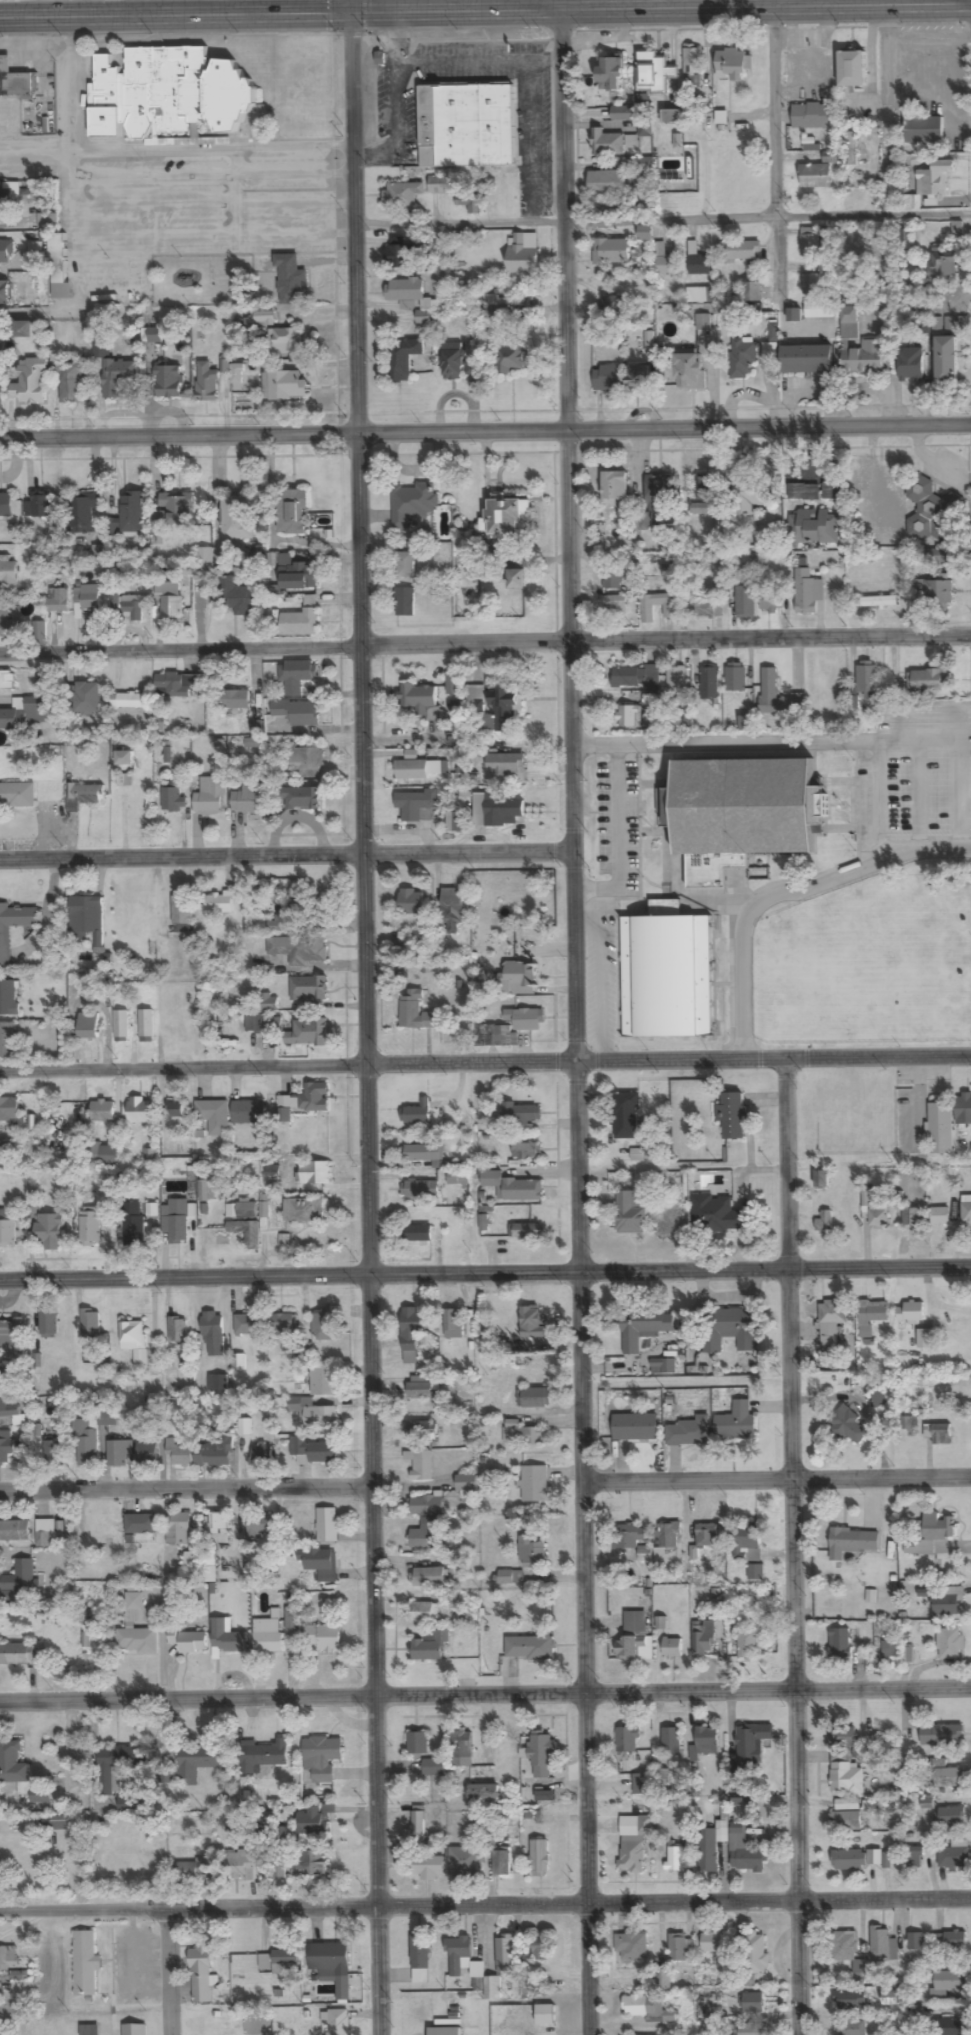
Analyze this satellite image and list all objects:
road: (139, 6)
road: (437, 6)
building: (692, 61)
building: (732, 63)
building: (852, 69)
building: (653, 72)
building: (610, 75)
building: (14, 79)
building: (299, 79)
building: (167, 94)
building: (0, 112)
building: (812, 116)
building: (672, 117)
building: (466, 125)
building: (923, 131)
building: (607, 144)
road: (775, 149)
building: (852, 149)
building: (815, 176)
building: (607, 183)
building: (439, 185)
building: (930, 187)
building: (2, 195)
building: (401, 195)
road: (663, 220)
building: (47, 221)
building: (645, 234)
building: (809, 243)
building: (739, 251)
building: (6, 252)
building: (605, 253)
building: (522, 254)
building: (399, 255)
building: (57, 259)
building: (697, 262)
building: (665, 263)
building: (941, 264)
building: (620, 280)
building: (291, 281)
building: (811, 284)
building: (404, 290)
building: (752, 293)
building: (4, 294)
building: (699, 296)
building: (611, 305)
building: (497, 307)
building: (819, 310)
building: (794, 315)
building: (703, 323)
building: (923, 327)
building: (23, 330)
building: (154, 336)
building: (284, 342)
building: (859, 347)
building: (101, 348)
building: (770, 350)
building: (743, 355)
building: (402, 359)
building: (511, 359)
building: (806, 360)
building: (946, 361)
building: (455, 362)
building: (910, 365)
building: (689, 371)
building: (236, 376)
building: (636, 376)
building: (118, 378)
building: (607, 379)
building: (31, 383)
building: (168, 383)
building: (70, 384)
building: (206, 384)
building: (284, 387)
building: (1, 397)
road: (485, 432)
building: (615, 491)
building: (659, 491)
building: (803, 492)
building: (830, 492)
building: (702, 493)
building: (750, 497)
building: (412, 504)
building: (5, 505)
building: (41, 505)
building: (928, 509)
building: (175, 510)
building: (82, 513)
building: (131, 513)
building: (292, 513)
building: (506, 517)
building: (237, 519)
building: (813, 527)
building: (205, 559)
building: (405, 565)
building: (8, 574)
building: (295, 575)
building: (516, 581)
building: (612, 581)
building: (807, 592)
building: (938, 593)
building: (90, 598)
building: (238, 599)
building: (57, 601)
building: (170, 601)
building: (769, 601)
building: (879, 602)
building: (404, 603)
building: (745, 603)
building: (615, 604)
building: (709, 608)
building: (134, 609)
building: (647, 612)
building: (301, 621)
building: (8, 629)
road: (485, 648)
building: (295, 676)
building: (635, 677)
building: (735, 677)
building: (676, 679)
building: (866, 679)
building: (929, 679)
building: (7, 681)
building: (709, 682)
building: (453, 684)
building: (175, 686)
building: (772, 694)
building: (418, 697)
building: (87, 700)
building: (232, 700)
building: (650, 700)
building: (131, 701)
building: (492, 707)
building: (297, 712)
building: (26, 714)
building: (629, 716)
building: (124, 758)
building: (306, 761)
building: (506, 766)
building: (418, 769)
building: (17, 794)
building: (83, 796)
building: (211, 796)
building: (173, 798)
building: (302, 798)
building: (246, 799)
building: (414, 806)
building: (501, 809)
building: (739, 813)
building: (455, 822)
road: (485, 851)
building: (315, 902)
building: (410, 902)
building: (218, 903)
building: (452, 909)
building: (181, 913)
building: (128, 914)
building: (86, 915)
building: (278, 925)
building: (5, 949)
building: (298, 950)
building: (666, 976)
building: (517, 979)
building: (308, 989)
building: (8, 998)
building: (415, 1012)
road: (367, 1017)
road: (578, 1020)
building: (263, 1024)
building: (121, 1025)
building: (88, 1026)
building: (146, 1026)
building: (507, 1028)
building: (307, 1033)
building: (8, 1040)
road: (485, 1063)
building: (314, 1098)
building: (284, 1109)
building: (963, 1109)
building: (175, 1110)
building: (482, 1110)
building: (139, 1111)
building: (102, 1112)
building: (248, 1112)
building: (11, 1114)
building: (416, 1114)
building: (519, 1114)
building: (732, 1115)
building: (214, 1116)
building: (625, 1116)
building: (940, 1128)
building: (526, 1151)
building: (420, 1153)
building: (6, 1154)
building: (150, 1158)
building: (314, 1173)
building: (457, 1179)
building: (821, 1179)
building: (513, 1187)
building: (420, 1189)
building: (206, 1191)
building: (303, 1210)
building: (875, 1210)
building: (629, 1212)
building: (966, 1212)
building: (715, 1213)
building: (940, 1216)
building: (911, 1217)
building: (175, 1221)
building: (824, 1222)
building: (93, 1225)
building: (49, 1231)
building: (133, 1231)
building: (246, 1232)
building: (525, 1232)
building: (418, 1233)
building: (7, 1234)
road: (485, 1269)
building: (910, 1313)
building: (871, 1316)
building: (831, 1317)
building: (48, 1322)
building: (89, 1322)
building: (532, 1322)
building: (281, 1323)
building: (248, 1325)
building: (453, 1325)
building: (323, 1327)
building: (644, 1328)
building: (729, 1329)
building: (177, 1331)
building: (412, 1333)
building: (213, 1334)
building: (11, 1335)
building: (923, 1339)
building: (134, 1341)
building: (502, 1342)
building: (239, 1363)
building: (663, 1366)
building: (323, 1381)
road: (686, 1381)
building: (217, 1383)
building: (421, 1387)
building: (534, 1398)
building: (879, 1399)
building: (11, 1412)
building: (314, 1413)
building: (107, 1418)
building: (736, 1422)
building: (847, 1426)
building: (634, 1427)
building: (421, 1430)
building: (689, 1432)
building: (521, 1434)
building: (941, 1434)
building: (86, 1444)
building: (5, 1448)
building: (314, 1450)
building: (53, 1452)
building: (178, 1452)
building: (118, 1453)
building: (212, 1453)
building: (146, 1454)
building: (262, 1455)
building: (422, 1466)
road: (777, 1478)
building: (466, 1483)
building: (534, 1484)
road: (187, 1487)
building: (425, 1506)
building: (137, 1524)
building: (327, 1525)
building: (99, 1526)
building: (260, 1526)
building: (219, 1530)
building: (14, 1531)
building: (932, 1534)
building: (668, 1535)
building: (628, 1536)
building: (707, 1536)
building: (747, 1538)
building: (183, 1539)
building: (423, 1539)
building: (46, 1540)
building: (852, 1542)
road: (791, 1547)
building: (531, 1550)
building: (320, 1563)
building: (210, 1570)
building: (756, 1572)
building: (429, 1577)
building: (510, 1578)
building: (19, 1582)
building: (946, 1601)
building: (421, 1612)
building: (292, 1626)
building: (136, 1630)
building: (267, 1636)
building: (632, 1637)
building: (704, 1637)
building: (226, 1638)
building: (322, 1638)
building: (750, 1642)
building: (192, 1643)
building: (842, 1643)
building: (949, 1646)
building: (530, 1647)
building: (430, 1648)
building: (672, 1648)
building: (890, 1649)
building: (16, 1655)
road: (485, 1699)
building: (942, 1735)
building: (842, 1738)
building: (671, 1741)
building: (705, 1742)
building: (751, 1742)
building: (463, 1743)
building: (626, 1743)
building: (417, 1744)
building: (261, 1757)
building: (539, 1757)
building: (321, 1758)
building: (196, 1762)
building: (14, 1767)
building: (116, 1767)
building: (433, 1768)
building: (948, 1777)
building: (845, 1778)
building: (641, 1784)
building: (483, 1794)
building: (128, 1805)
building: (846, 1815)
building: (950, 1817)
building: (313, 1822)
building: (56, 1823)
building: (645, 1825)
building: (416, 1830)
building: (711, 1846)
building: (745, 1852)
building: (954, 1855)
building: (675, 1856)
building: (630, 1857)
building: (914, 1857)
building: (539, 1858)
building: (848, 1859)
building: (465, 1861)
building: (501, 1862)
building: (309, 1865)
building: (240, 1866)
building: (428, 1867)
building: (194, 1872)
road: (485, 1905)
building: (955, 1941)
building: (916, 1942)
building: (712, 1943)
building: (632, 1946)
building: (844, 1946)
building: (882, 1946)
building: (677, 1948)
building: (540, 1950)
building: (752, 1957)
building: (7, 1958)
building: (462, 1958)
building: (419, 1959)
building: (285, 1962)
building: (85, 1964)
building: (332, 1965)
building: (502, 1965)
road: (175, 1972)
building: (200, 1973)
building: (664, 1980)
building: (948, 1982)
building: (890, 1998)
building: (849, 2000)
building: (752, 2003)
building: (647, 2008)
building: (706, 2010)
building: (336, 2022)
building: (949, 2027)
building: (851, 2028)
building: (134, 2029)
building: (750, 2029)
building: (89, 2030)
building: (444, 2031)

